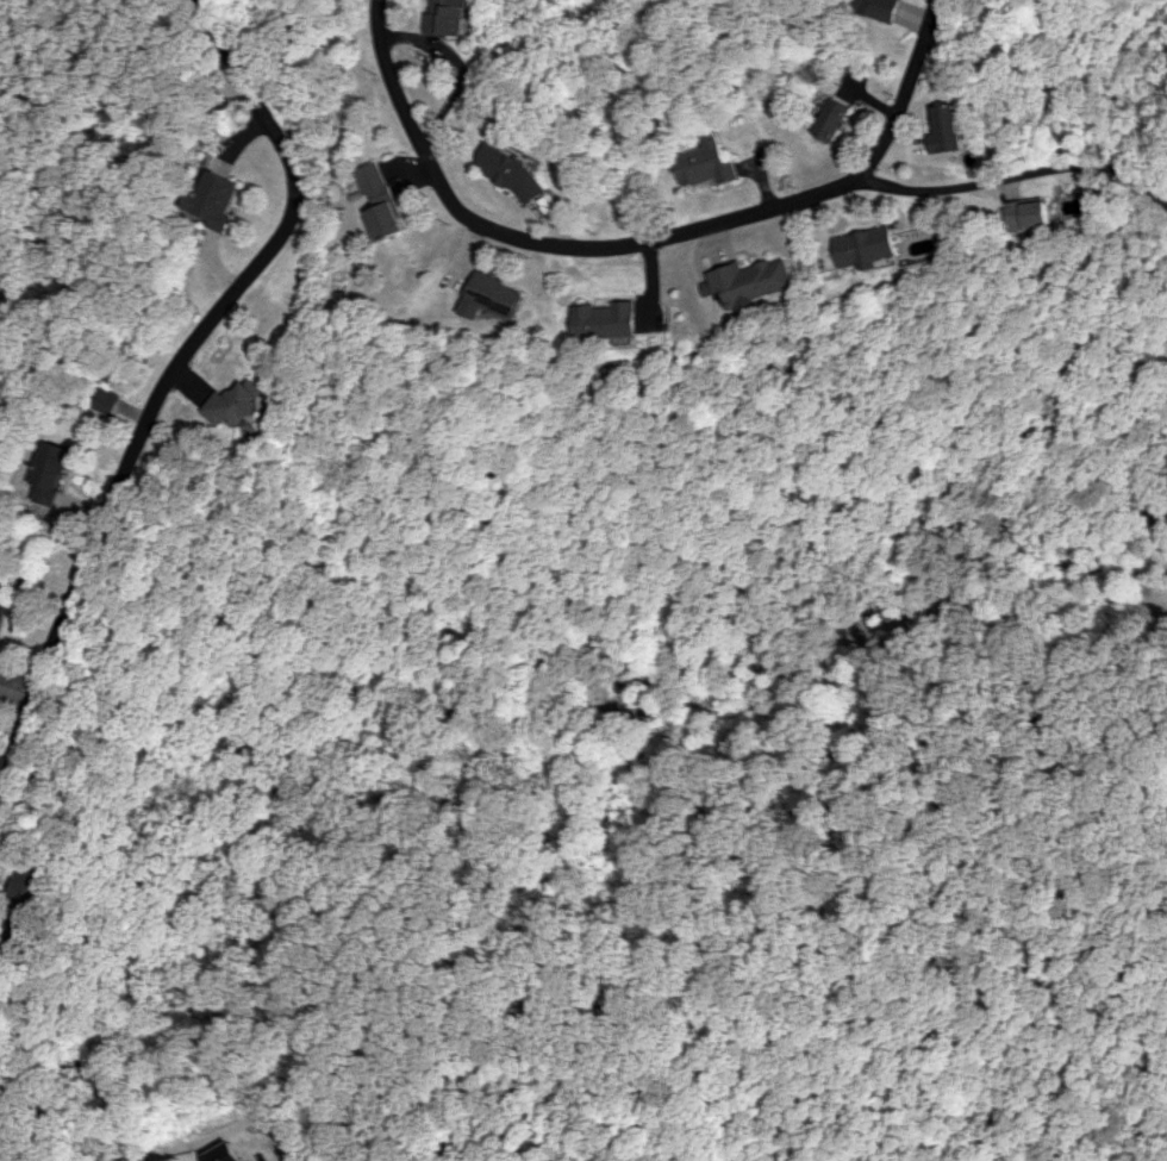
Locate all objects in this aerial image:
building: (876, 8)
building: (448, 17)
building: (829, 117)
building: (948, 129)
building: (705, 162)
road: (1017, 171)
building: (513, 173)
building: (210, 200)
building: (377, 201)
road: (1166, 202)
building: (1030, 214)
road: (643, 241)
building: (866, 246)
building: (748, 282)
building: (488, 297)
building: (603, 320)
road: (161, 383)
building: (104, 401)
building: (236, 405)
road: (1001, 449)
building: (45, 472)
building: (0, 608)
building: (27, 899)
building: (221, 1153)
road: (2, 1159)

